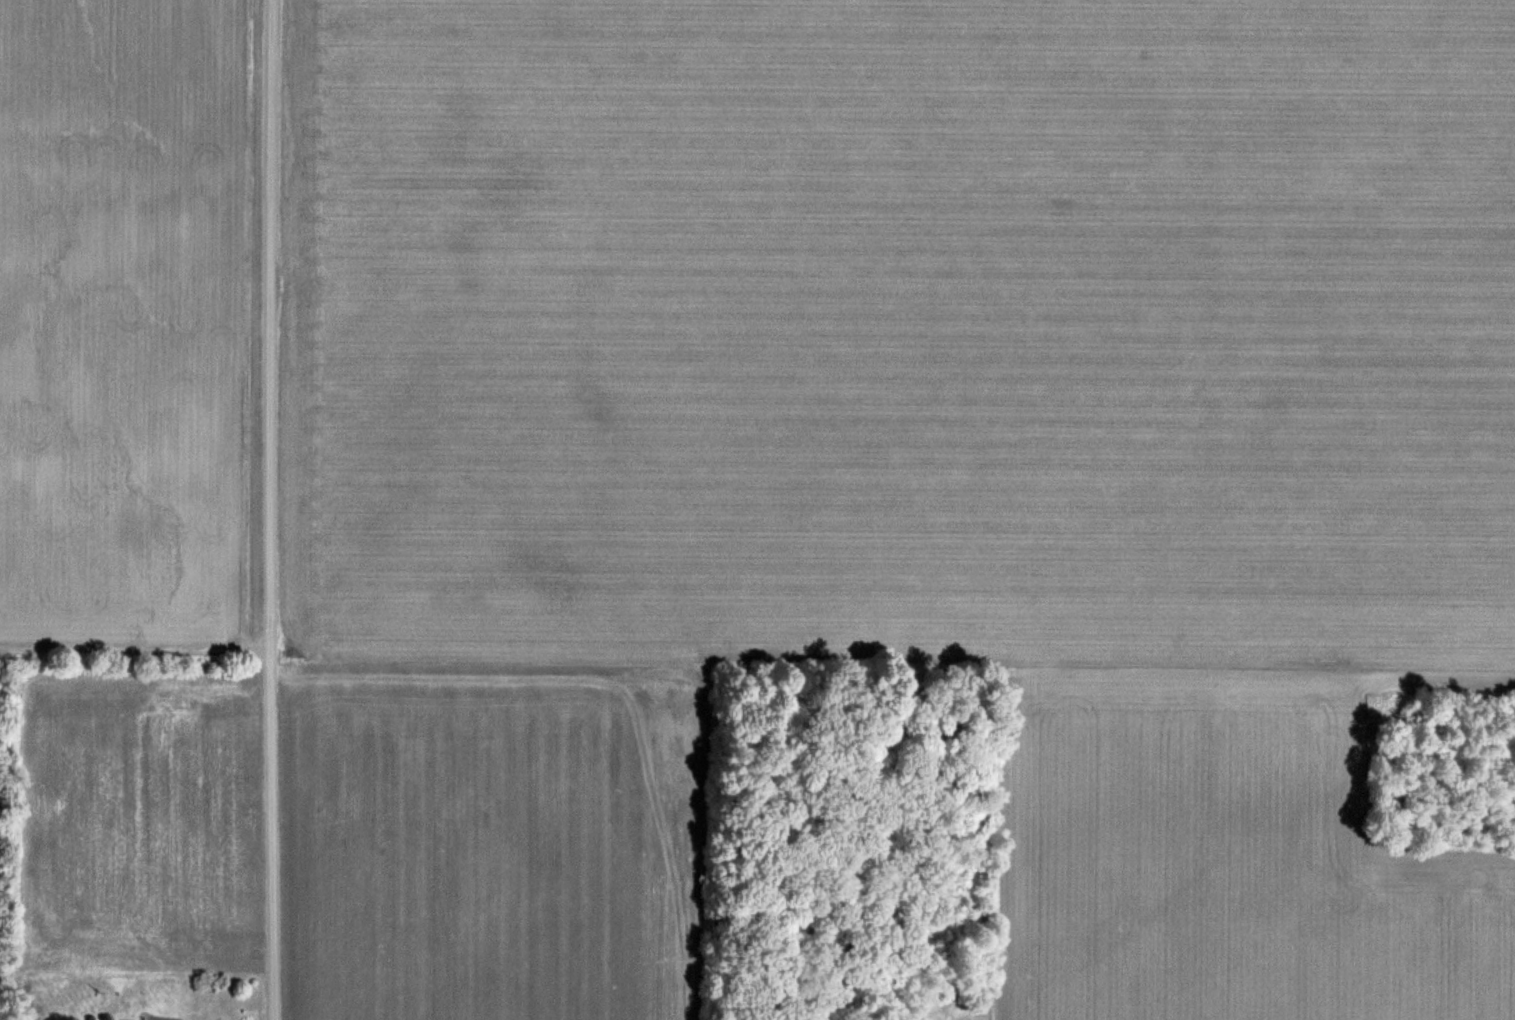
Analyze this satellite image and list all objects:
crop: (120, 321)
road: (269, 510)
crop: (139, 824)

